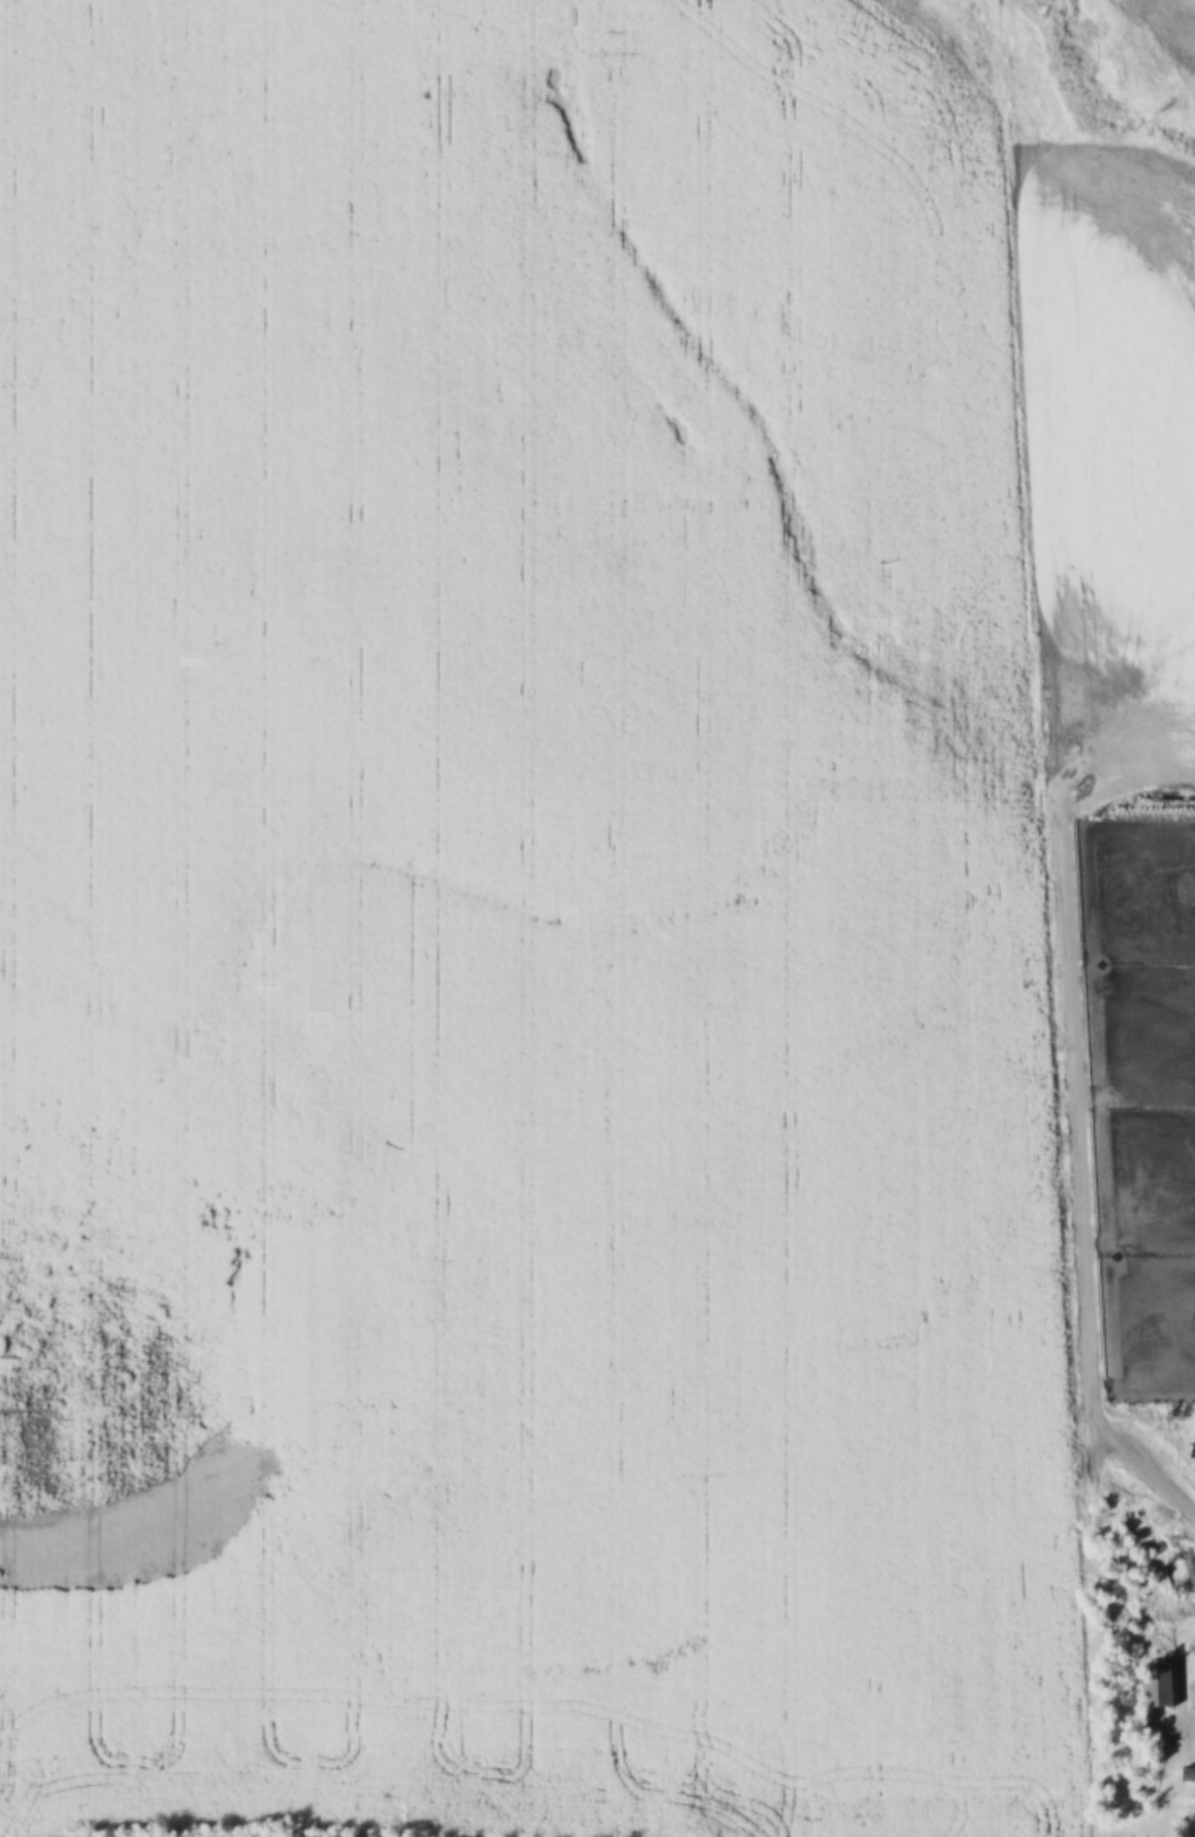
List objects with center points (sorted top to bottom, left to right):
building: (1165, 1688)
building: (1193, 1786)

